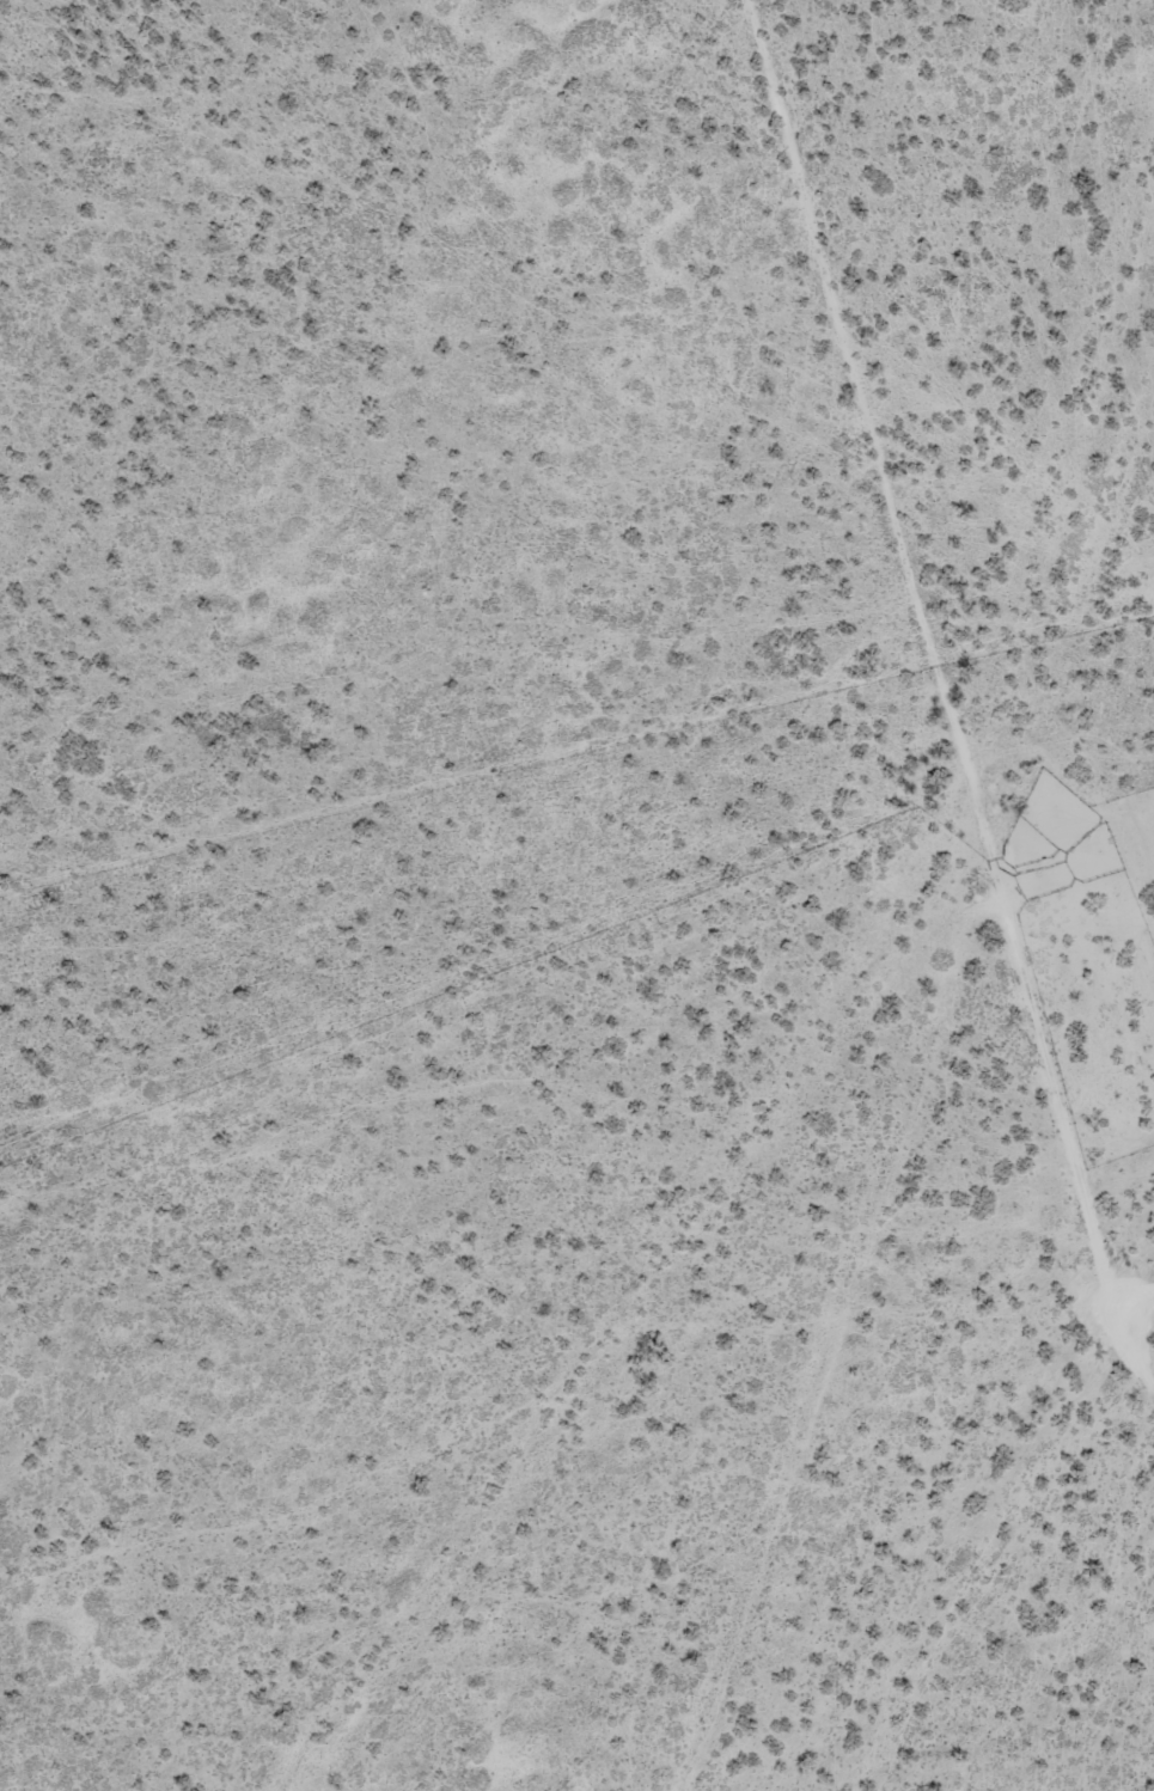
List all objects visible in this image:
road: (944, 697)

